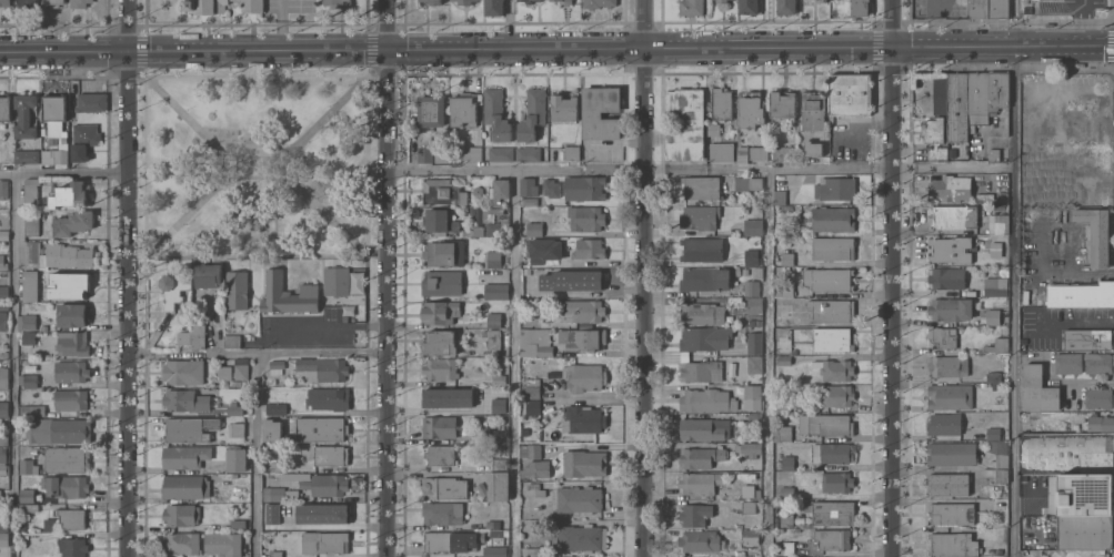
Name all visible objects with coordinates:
building: (465, 0)
building: (521, 0)
building: (525, 0)
building: (722, 0)
building: (820, 0)
building: (429, 1)
building: (464, 1)
building: (528, 1)
building: (553, 1)
building: (564, 1)
building: (4, 2)
building: (26, 2)
building: (53, 2)
building: (77, 2)
building: (337, 2)
building: (596, 2)
building: (250, 4)
building: (204, 6)
building: (747, 6)
building: (785, 6)
building: (492, 7)
building: (690, 7)
building: (860, 8)
building: (978, 8)
building: (997, 8)
road: (895, 24)
road: (280, 26)
road: (556, 50)
building: (850, 93)
building: (973, 98)
building: (90, 101)
building: (720, 102)
building: (782, 102)
building: (4, 105)
building: (52, 105)
building: (563, 107)
building: (463, 108)
building: (750, 108)
building: (811, 109)
building: (599, 111)
building: (431, 112)
building: (494, 113)
building: (531, 113)
building: (23, 115)
building: (685, 123)
building: (712, 128)
building: (934, 136)
building: (82, 139)
building: (255, 142)
building: (812, 146)
building: (992, 148)
building: (720, 150)
building: (571, 151)
building: (782, 151)
building: (440, 152)
building: (470, 152)
building: (526, 152)
building: (757, 152)
building: (423, 153)
building: (499, 153)
building: (741, 153)
building: (24, 155)
building: (59, 155)
road: (273, 156)
building: (453, 156)
road: (269, 166)
road: (239, 168)
park: (255, 168)
road: (417, 170)
road: (795, 170)
road: (513, 171)
road: (62, 175)
road: (254, 176)
building: (740, 182)
building: (754, 182)
building: (526, 185)
building: (700, 185)
building: (550, 186)
building: (582, 186)
building: (836, 186)
building: (949, 186)
building: (499, 188)
building: (2, 189)
building: (441, 191)
building: (29, 192)
building: (69, 193)
building: (779, 195)
building: (1001, 195)
building: (529, 200)
building: (787, 207)
building: (470, 209)
building: (498, 212)
building: (952, 215)
building: (697, 216)
building: (585, 217)
building: (831, 217)
building: (438, 220)
building: (30, 222)
building: (72, 222)
building: (996, 223)
building: (752, 225)
building: (491, 227)
building: (533, 227)
building: (460, 231)
building: (1094, 233)
building: (3, 234)
building: (996, 244)
building: (588, 247)
building: (700, 247)
building: (832, 247)
building: (543, 249)
building: (950, 249)
building: (31, 251)
building: (443, 252)
building: (67, 254)
building: (750, 255)
building: (491, 257)
building: (785, 257)
building: (2, 262)
building: (743, 270)
building: (735, 271)
building: (755, 271)
building: (205, 273)
road: (1051, 273)
building: (946, 276)
road: (384, 277)
building: (586, 277)
road: (643, 277)
building: (704, 277)
building: (826, 277)
road: (126, 278)
road: (1014, 278)
building: (335, 280)
building: (441, 282)
building: (29, 284)
building: (67, 284)
building: (994, 285)
building: (751, 286)
building: (172, 288)
building: (235, 288)
building: (528, 288)
building: (784, 288)
building: (494, 290)
building: (1080, 293)
building: (287, 294)
building: (3, 295)
building: (753, 303)
road: (893, 303)
building: (3, 305)
building: (949, 307)
building: (352, 308)
building: (831, 308)
building: (581, 310)
building: (438, 311)
building: (700, 312)
building: (71, 313)
building: (464, 315)
building: (988, 315)
building: (344, 316)
building: (2, 320)
building: (493, 320)
building: (27, 321)
road: (328, 325)
building: (197, 334)
building: (560, 335)
building: (942, 335)
building: (27, 336)
building: (181, 336)
building: (492, 337)
building: (832, 337)
building: (1087, 337)
building: (583, 338)
building: (703, 338)
building: (230, 340)
building: (439, 341)
building: (534, 342)
building: (753, 342)
building: (72, 343)
building: (996, 344)
building: (4, 353)
road: (254, 353)
building: (783, 359)
building: (1067, 362)
building: (1096, 362)
building: (753, 363)
road: (513, 364)
road: (766, 364)
building: (946, 364)
building: (275, 365)
road: (13, 366)
building: (239, 367)
building: (323, 367)
building: (439, 367)
building: (834, 368)
building: (70, 369)
building: (700, 369)
building: (182, 371)
building: (223, 373)
building: (992, 375)
building: (3, 376)
building: (584, 376)
building: (496, 377)
building: (27, 379)
building: (243, 383)
building: (994, 385)
building: (1036, 387)
building: (531, 389)
building: (223, 394)
building: (493, 395)
building: (835, 395)
building: (949, 395)
building: (752, 396)
building: (1096, 396)
building: (328, 397)
building: (436, 397)
building: (69, 398)
building: (184, 399)
building: (704, 399)
building: (781, 404)
building: (498, 405)
building: (531, 406)
building: (3, 407)
building: (232, 407)
building: (274, 407)
building: (31, 408)
building: (752, 416)
building: (582, 418)
building: (1100, 422)
building: (824, 423)
building: (943, 423)
building: (438, 425)
building: (189, 427)
building: (319, 427)
building: (484, 427)
building: (703, 427)
building: (237, 428)
building: (57, 429)
building: (270, 429)
building: (781, 432)
building: (992, 432)
building: (287, 434)
building: (482, 436)
building: (3, 439)
building: (997, 446)
building: (746, 447)
building: (496, 449)
building: (530, 449)
building: (831, 452)
building: (951, 452)
building: (1066, 453)
building: (329, 454)
building: (439, 454)
building: (184, 455)
road: (254, 455)
building: (700, 455)
building: (2, 458)
building: (64, 458)
building: (235, 458)
building: (1000, 459)
building: (786, 460)
building: (582, 462)
building: (498, 464)
building: (27, 465)
building: (275, 465)
building: (534, 468)
building: (1000, 475)
building: (272, 478)
building: (835, 480)
building: (699, 482)
building: (357, 483)
building: (947, 483)
building: (328, 484)
building: (63, 485)
building: (184, 485)
building: (496, 485)
building: (443, 486)
building: (535, 488)
building: (746, 489)
building: (785, 489)
building: (272, 493)
building: (24, 494)
building: (1080, 494)
building: (578, 498)
building: (997, 504)
building: (746, 505)
building: (26, 506)
building: (486, 507)
building: (441, 512)
building: (832, 512)
building: (951, 512)
building: (272, 513)
building: (323, 513)
building: (693, 513)
building: (181, 514)
building: (70, 517)
building: (785, 517)
building: (496, 521)
building: (237, 523)
building: (3, 526)
building: (1084, 530)
building: (988, 533)
building: (580, 536)
building: (750, 536)
building: (832, 537)
building: (3, 538)
building: (443, 538)
building: (700, 539)
building: (323, 540)
building: (181, 543)
building: (222, 543)
building: (953, 543)
building: (72, 546)
building: (786, 547)
building: (532, 549)
building: (997, 549)
building: (493, 550)
building: (988, 550)
building: (775, 551)
building: (274, 553)
building: (542, 553)
building: (782, 556)

